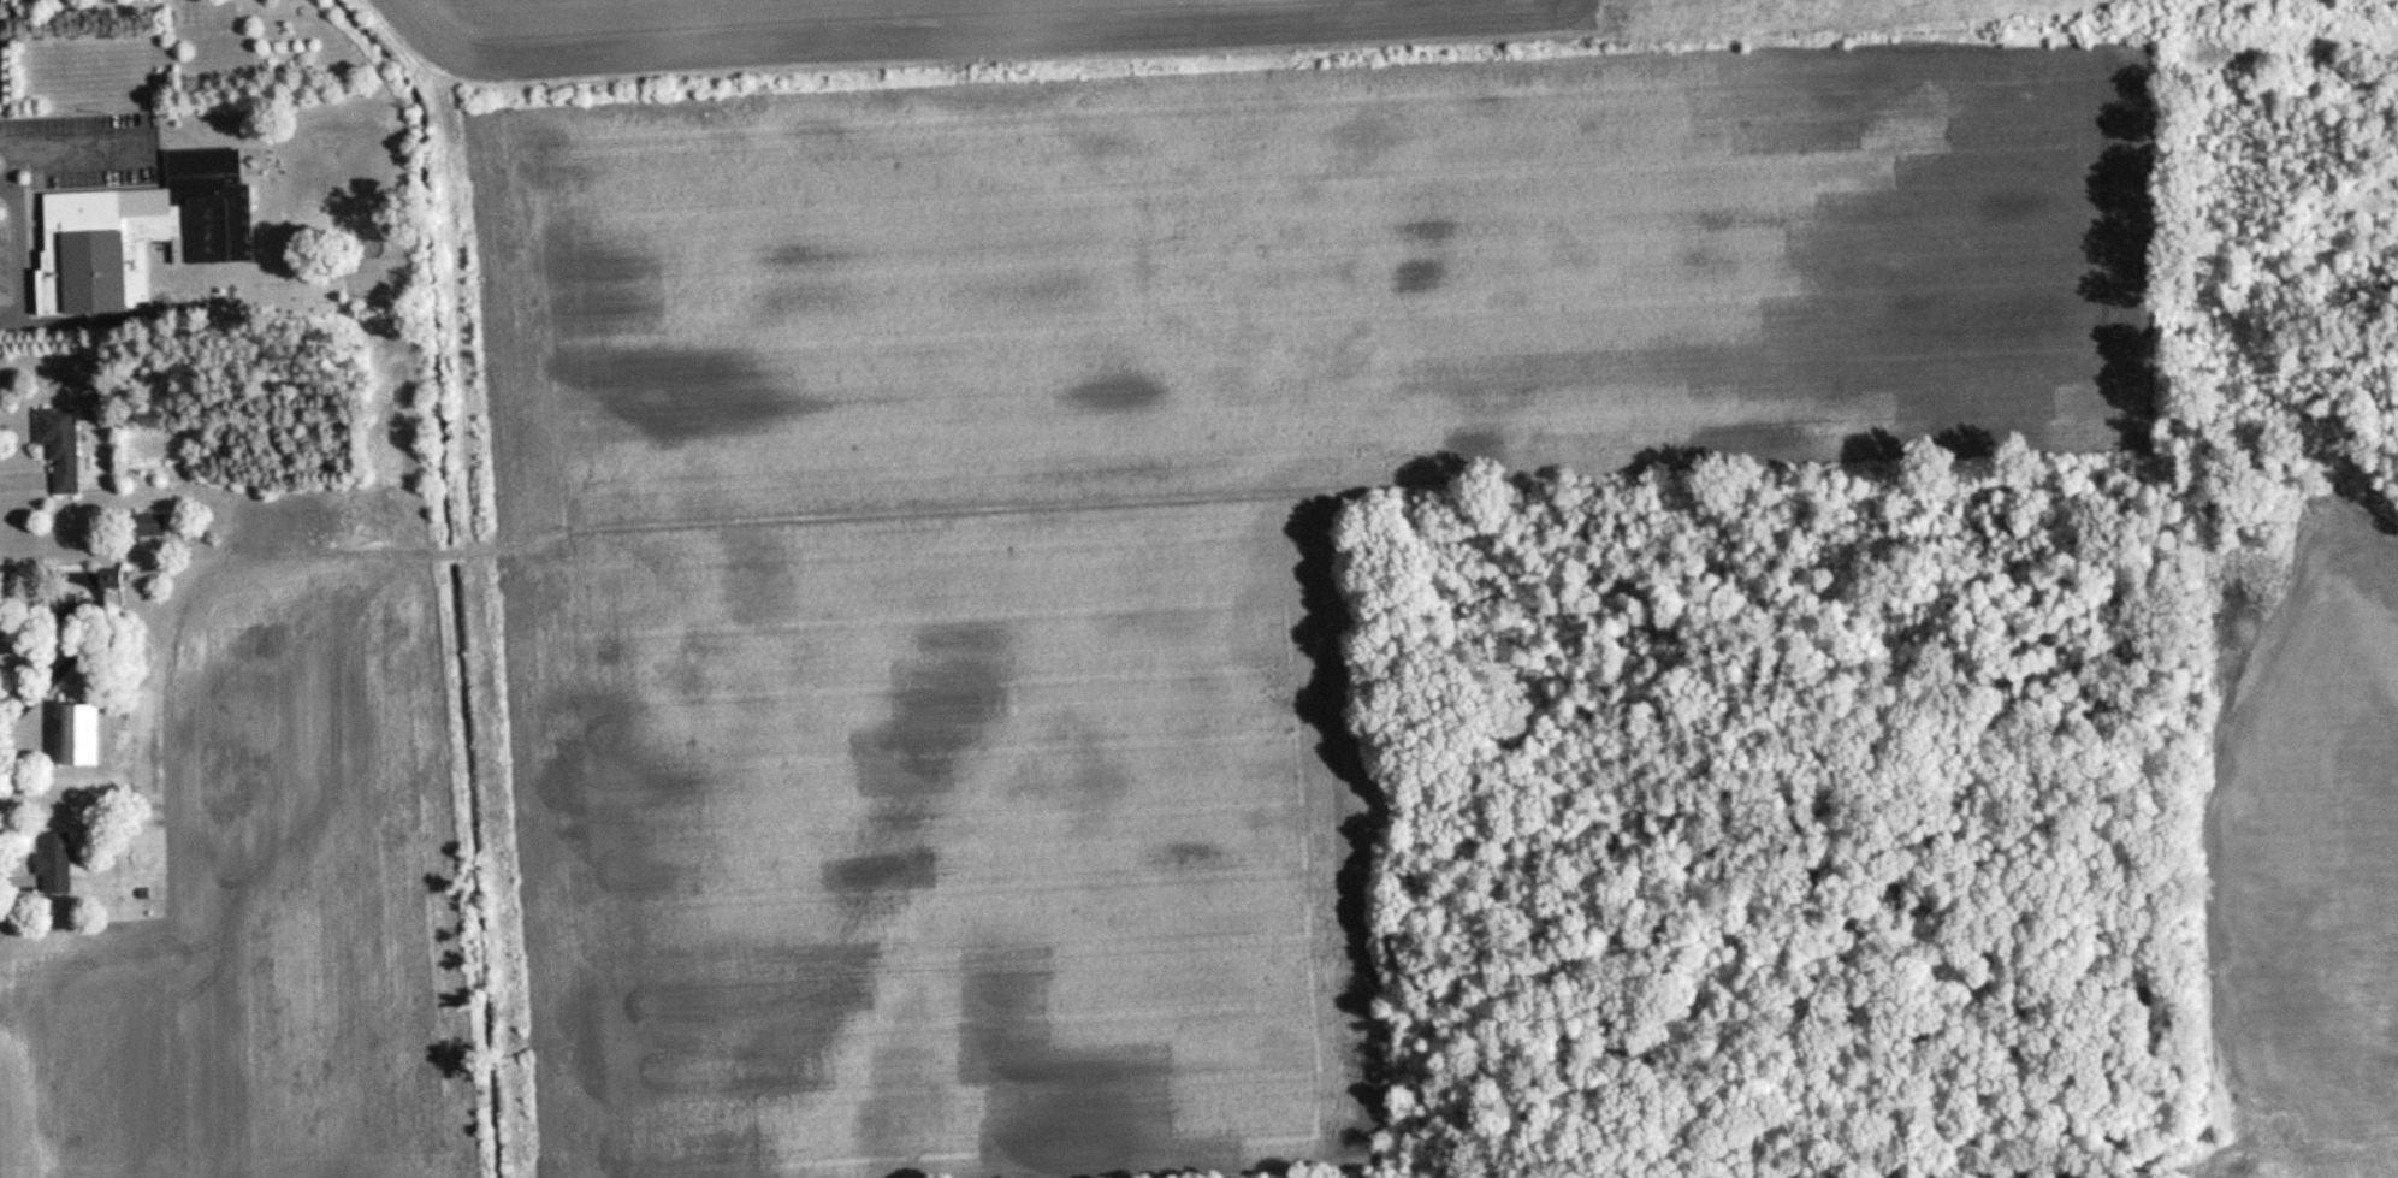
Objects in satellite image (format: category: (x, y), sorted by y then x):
road: (69, 142)
road: (6, 183)
building: (161, 227)
road: (14, 235)
building: (66, 445)
building: (158, 525)
building: (116, 578)
building: (81, 603)
building: (89, 735)
building: (63, 863)

